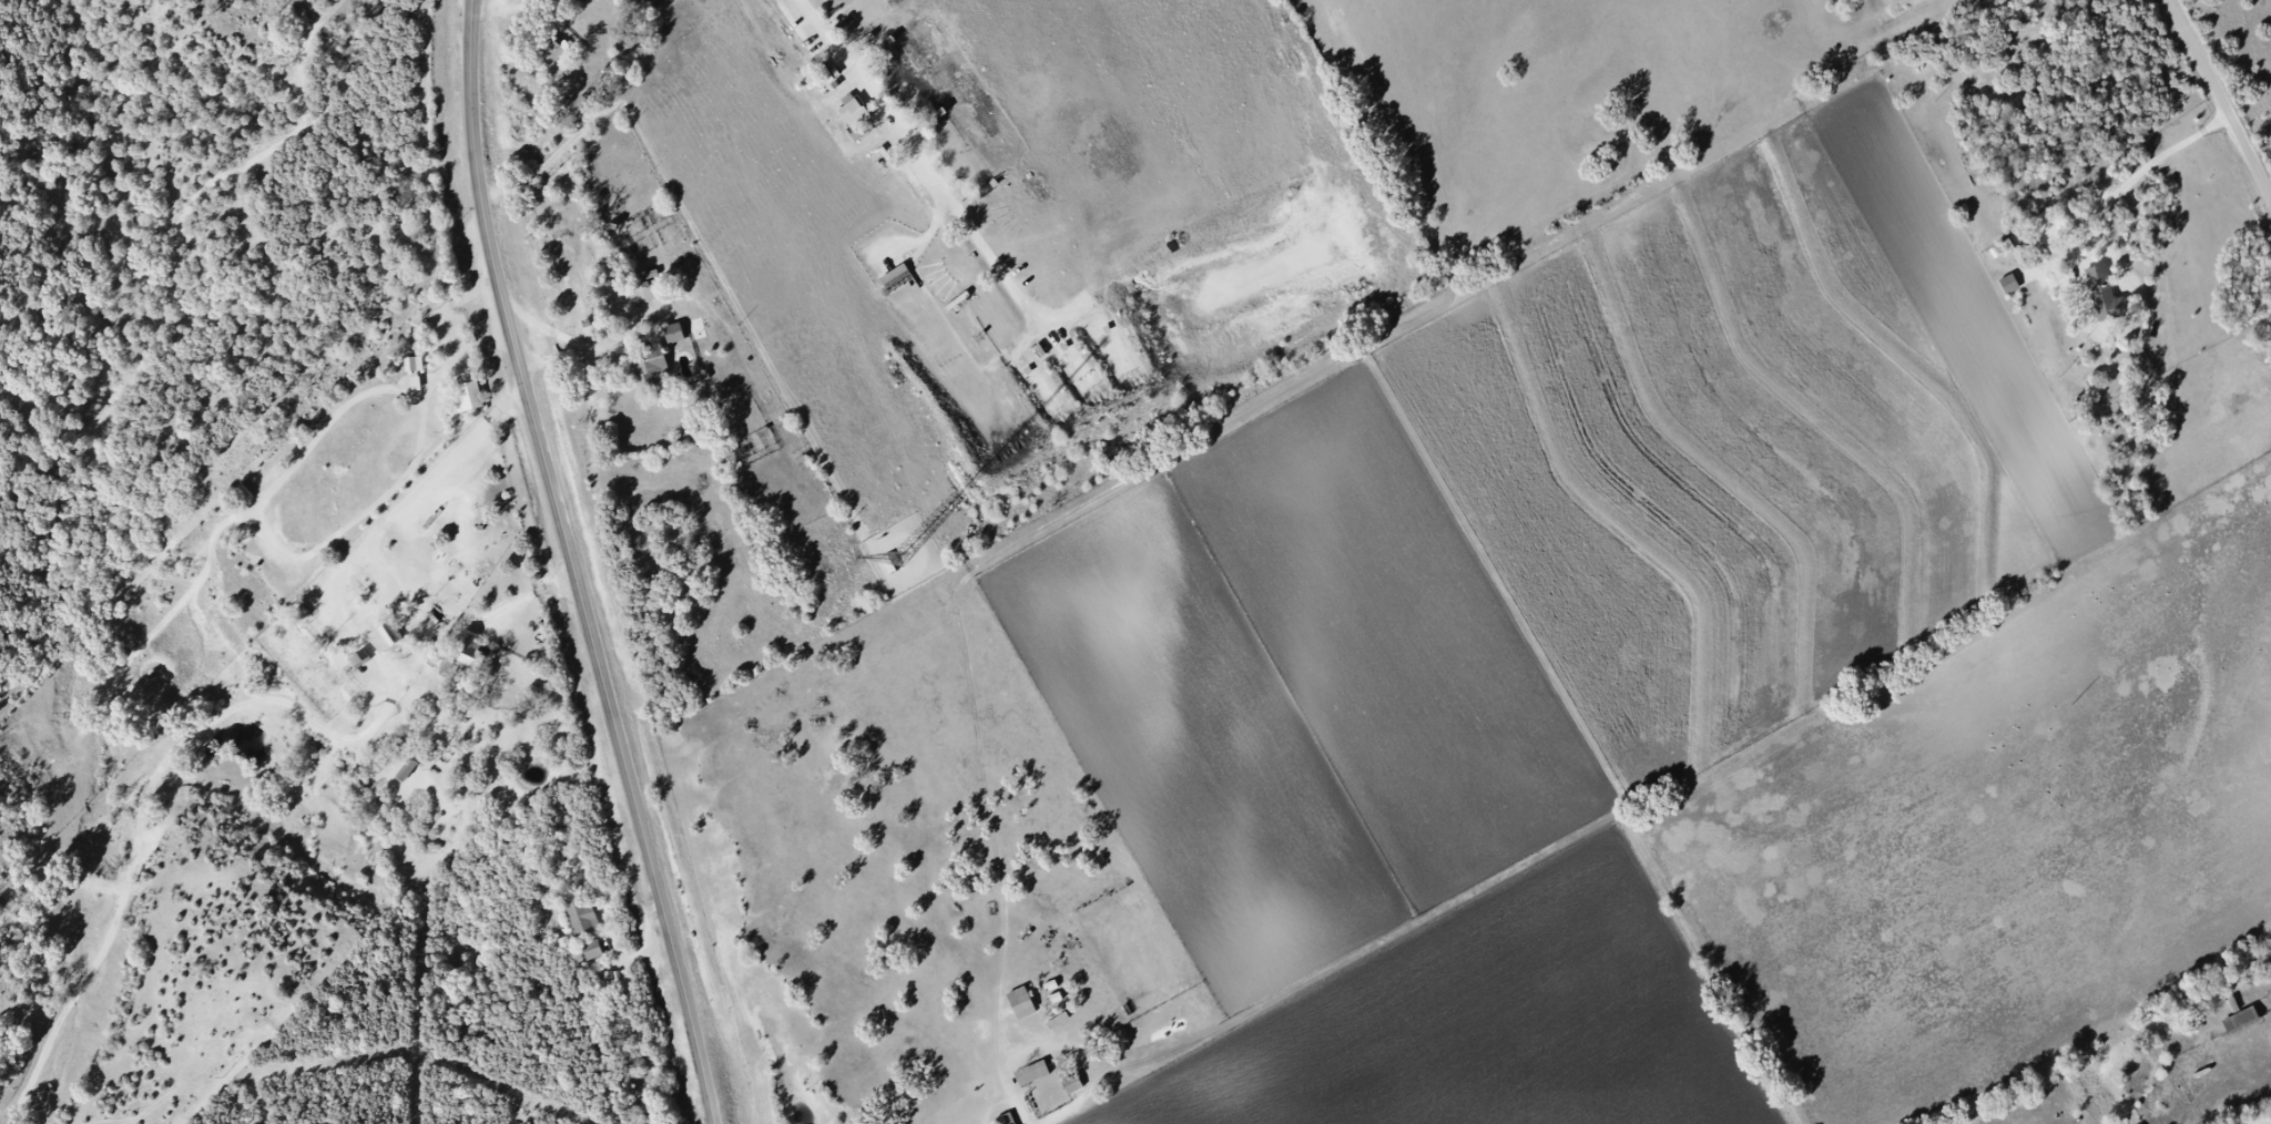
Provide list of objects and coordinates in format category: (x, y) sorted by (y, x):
building: (553, 52)
road: (2226, 89)
building: (855, 113)
building: (2009, 285)
building: (654, 292)
building: (2112, 296)
building: (696, 329)
building: (674, 335)
building: (650, 360)
building: (414, 365)
building: (469, 398)
road: (579, 565)
building: (386, 637)
building: (472, 655)
building: (407, 770)
building: (581, 914)
building: (592, 950)
building: (1021, 1003)
building: (2241, 1021)
building: (1032, 1074)
building: (1072, 1085)

